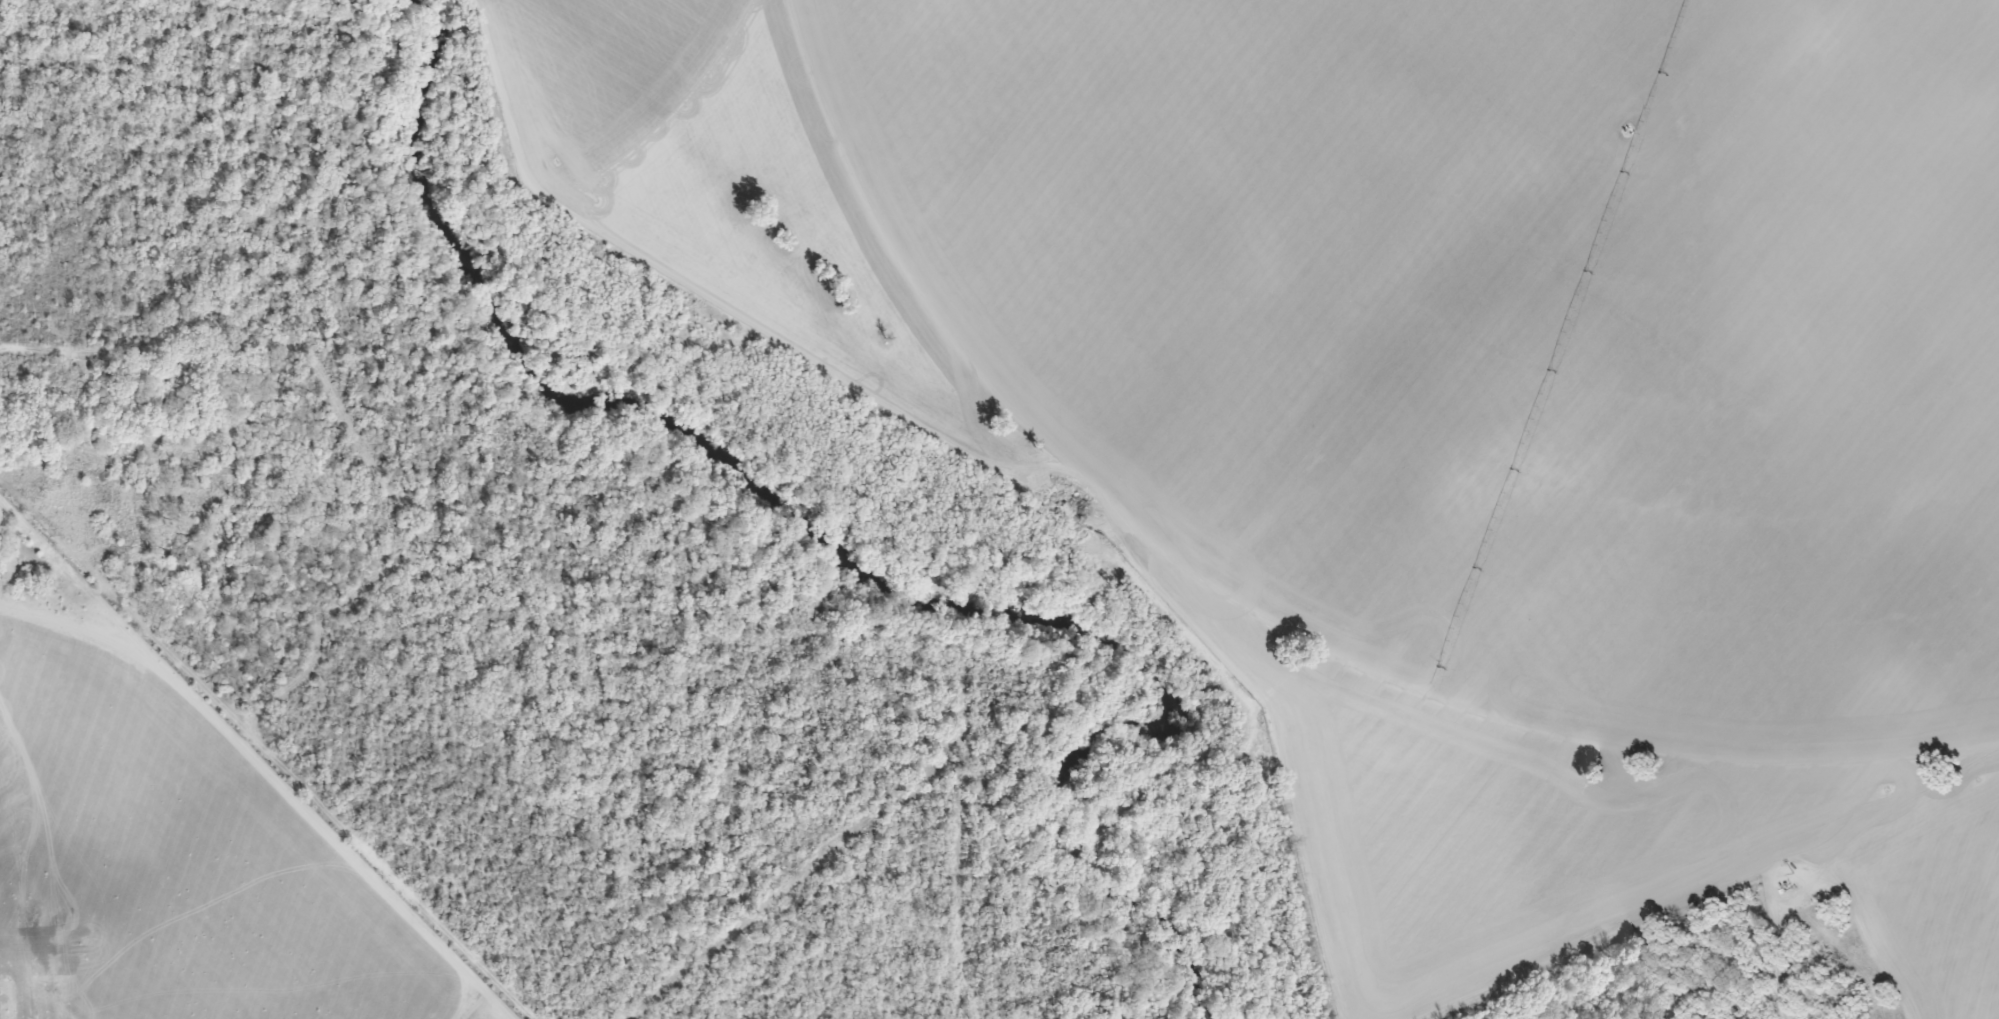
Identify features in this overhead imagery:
river: (858, 553)
road: (275, 662)

